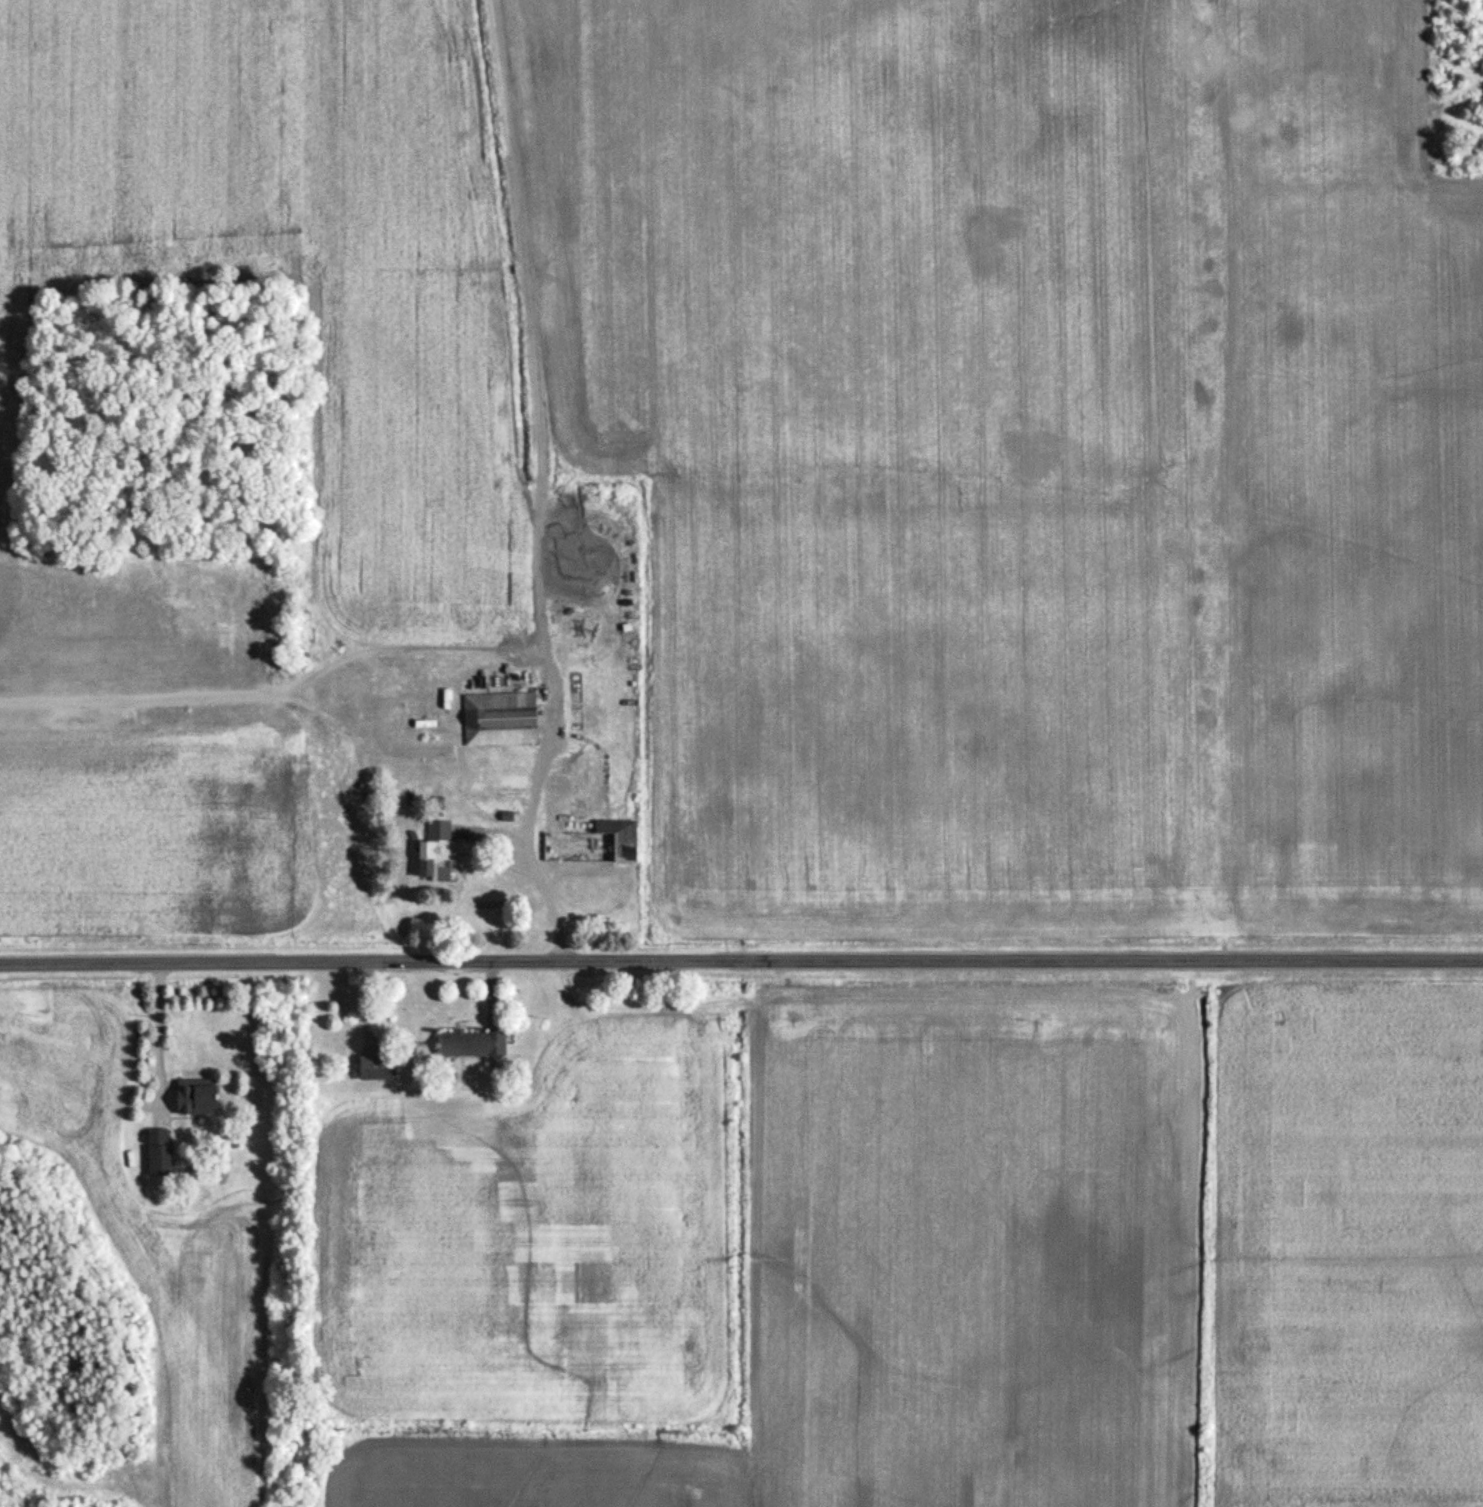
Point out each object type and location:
road: (1222, 480)
building: (497, 720)
building: (585, 842)
building: (435, 851)
road: (527, 861)
road: (741, 961)
road: (153, 1029)
building: (467, 1043)
building: (372, 1067)
building: (193, 1099)
building: (156, 1152)

